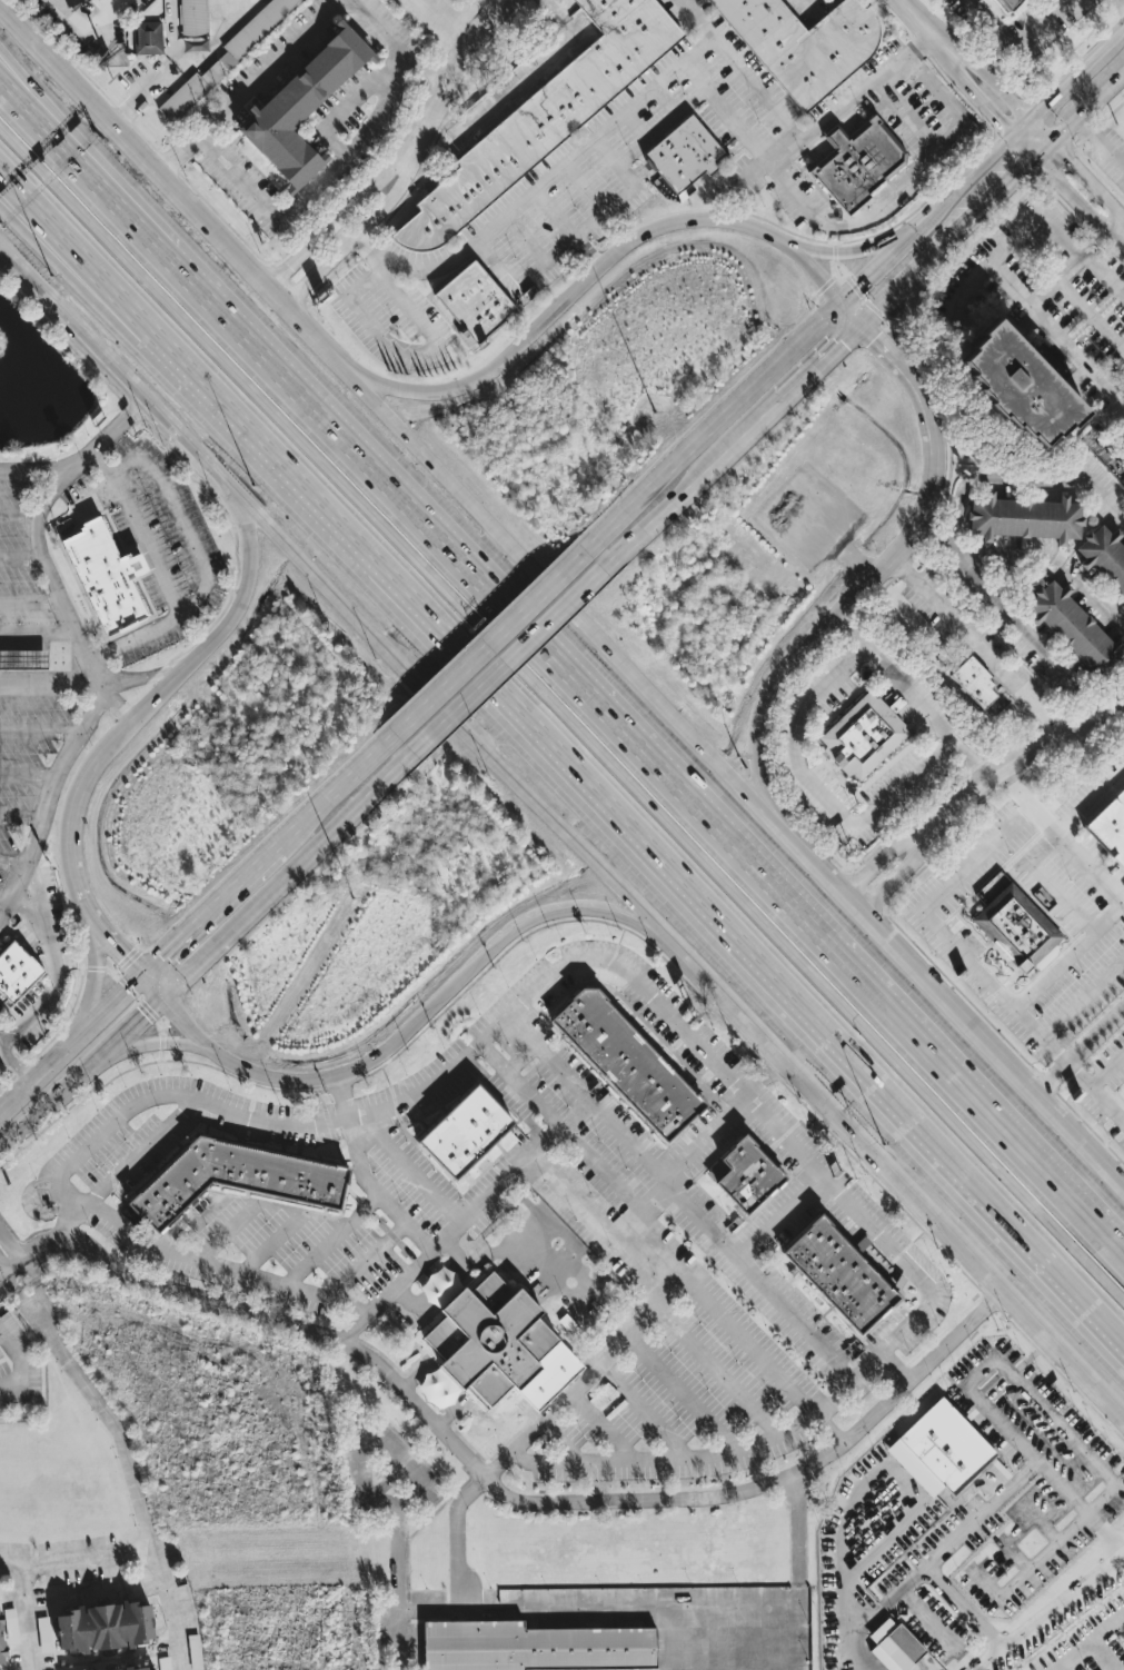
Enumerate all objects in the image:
road: (1123, 0)
building: (1001, 1)
building: (120, 3)
road: (78, 16)
building: (193, 17)
road: (698, 19)
parking lot: (79, 22)
building: (148, 37)
road: (299, 41)
building: (805, 46)
road: (1014, 48)
building: (225, 57)
road: (965, 63)
road: (465, 64)
road: (694, 78)
road: (1075, 79)
road: (519, 83)
road: (760, 90)
road: (698, 95)
road: (665, 102)
building: (305, 108)
road: (1085, 109)
road: (341, 112)
road: (911, 112)
building: (547, 118)
road: (836, 118)
traffic signals: (1028, 127)
road: (634, 128)
road: (1101, 143)
traffic signals: (1048, 148)
building: (684, 153)
road: (82, 162)
building: (862, 168)
road: (110, 175)
parking lot: (589, 175)
road: (1076, 180)
road: (898, 181)
road: (546, 182)
road: (312, 186)
road: (585, 189)
road: (181, 192)
road: (351, 213)
road: (933, 213)
road: (372, 230)
road: (571, 230)
road: (1014, 232)
road: (951, 233)
road: (574, 239)
road: (526, 241)
road: (1097, 241)
road: (869, 249)
road: (2, 255)
road: (71, 266)
road: (813, 271)
road: (21, 272)
road: (71, 274)
road: (365, 276)
road: (193, 277)
traffic signals: (862, 281)
road: (571, 300)
building: (478, 306)
parking lot: (1055, 307)
road: (1037, 308)
road: (849, 314)
road: (906, 318)
parking lot: (396, 320)
road: (1090, 320)
traffic signals: (875, 340)
traffic signals: (842, 341)
road: (427, 348)
road: (819, 361)
road: (907, 375)
building: (1026, 379)
road: (142, 391)
road: (707, 428)
road: (83, 456)
road: (689, 487)
road: (21, 513)
road: (919, 516)
building: (1025, 517)
road: (140, 530)
parking lot: (151, 543)
road: (953, 545)
road: (1054, 551)
road: (21, 555)
building: (1105, 557)
road: (200, 565)
road: (858, 565)
building: (103, 574)
road: (52, 577)
road: (30, 603)
road: (571, 607)
building: (1122, 607)
road: (232, 620)
road: (823, 627)
building: (1072, 627)
road: (37, 634)
road: (485, 644)
road: (975, 646)
building: (23, 659)
road: (506, 664)
parking lot: (24, 670)
road: (149, 676)
road: (49, 682)
building: (973, 682)
road: (958, 696)
road: (911, 698)
road: (123, 706)
road: (462, 725)
road: (563, 725)
road: (42, 730)
road: (1060, 736)
building: (866, 738)
road: (755, 756)
road: (30, 775)
road: (675, 778)
road: (336, 788)
road: (824, 796)
road: (52, 797)
road: (1092, 799)
road: (71, 817)
road: (22, 818)
building: (1111, 831)
road: (1062, 834)
road: (924, 841)
road: (633, 854)
road: (299, 864)
road: (14, 865)
road: (817, 872)
road: (1048, 881)
road: (2, 908)
road: (208, 912)
road: (553, 913)
building: (1018, 932)
parking lot: (1024, 933)
road: (1070, 954)
traffic signals: (119, 955)
traffic signals: (159, 960)
road: (972, 961)
road: (129, 967)
building: (16, 972)
road: (550, 975)
road: (54, 986)
road: (171, 988)
road: (92, 991)
road: (1083, 996)
traffic signals: (142, 1017)
road: (125, 1033)
road: (2, 1037)
road: (151, 1044)
road: (70, 1046)
road: (986, 1048)
road: (1078, 1053)
building: (628, 1064)
road: (1107, 1070)
road: (296, 1083)
road: (519, 1086)
road: (341, 1096)
road: (587, 1100)
road: (46, 1107)
road: (317, 1125)
road: (561, 1126)
building: (466, 1132)
road: (141, 1150)
road: (411, 1169)
building: (747, 1176)
building: (240, 1179)
road: (906, 1186)
parking lot: (547, 1212)
road: (775, 1214)
road: (69, 1222)
road: (225, 1231)
road: (607, 1234)
road: (330, 1239)
road: (269, 1243)
road: (20, 1256)
road: (246, 1273)
building: (840, 1278)
road: (9, 1281)
road: (350, 1303)
road: (42, 1311)
road: (32, 1314)
road: (737, 1332)
road: (895, 1335)
building: (488, 1345)
road: (714, 1366)
road: (894, 1368)
road: (19, 1369)
road: (680, 1389)
building: (603, 1396)
road: (643, 1406)
road: (543, 1421)
road: (599, 1425)
road: (560, 1438)
building: (947, 1448)
road: (1085, 1453)
road: (692, 1455)
road: (498, 1488)
road: (136, 1493)
road: (984, 1510)
parking lot: (958, 1519)
road: (798, 1530)
road: (77, 1563)
road: (1065, 1602)
road: (465, 1611)
road: (660, 1611)
road: (33, 1619)
building: (105, 1627)
parking lot: (600, 1628)
building: (7, 1631)
building: (43, 1634)
building: (893, 1646)
building: (534, 1648)
road: (994, 1660)
building: (147, 1669)

